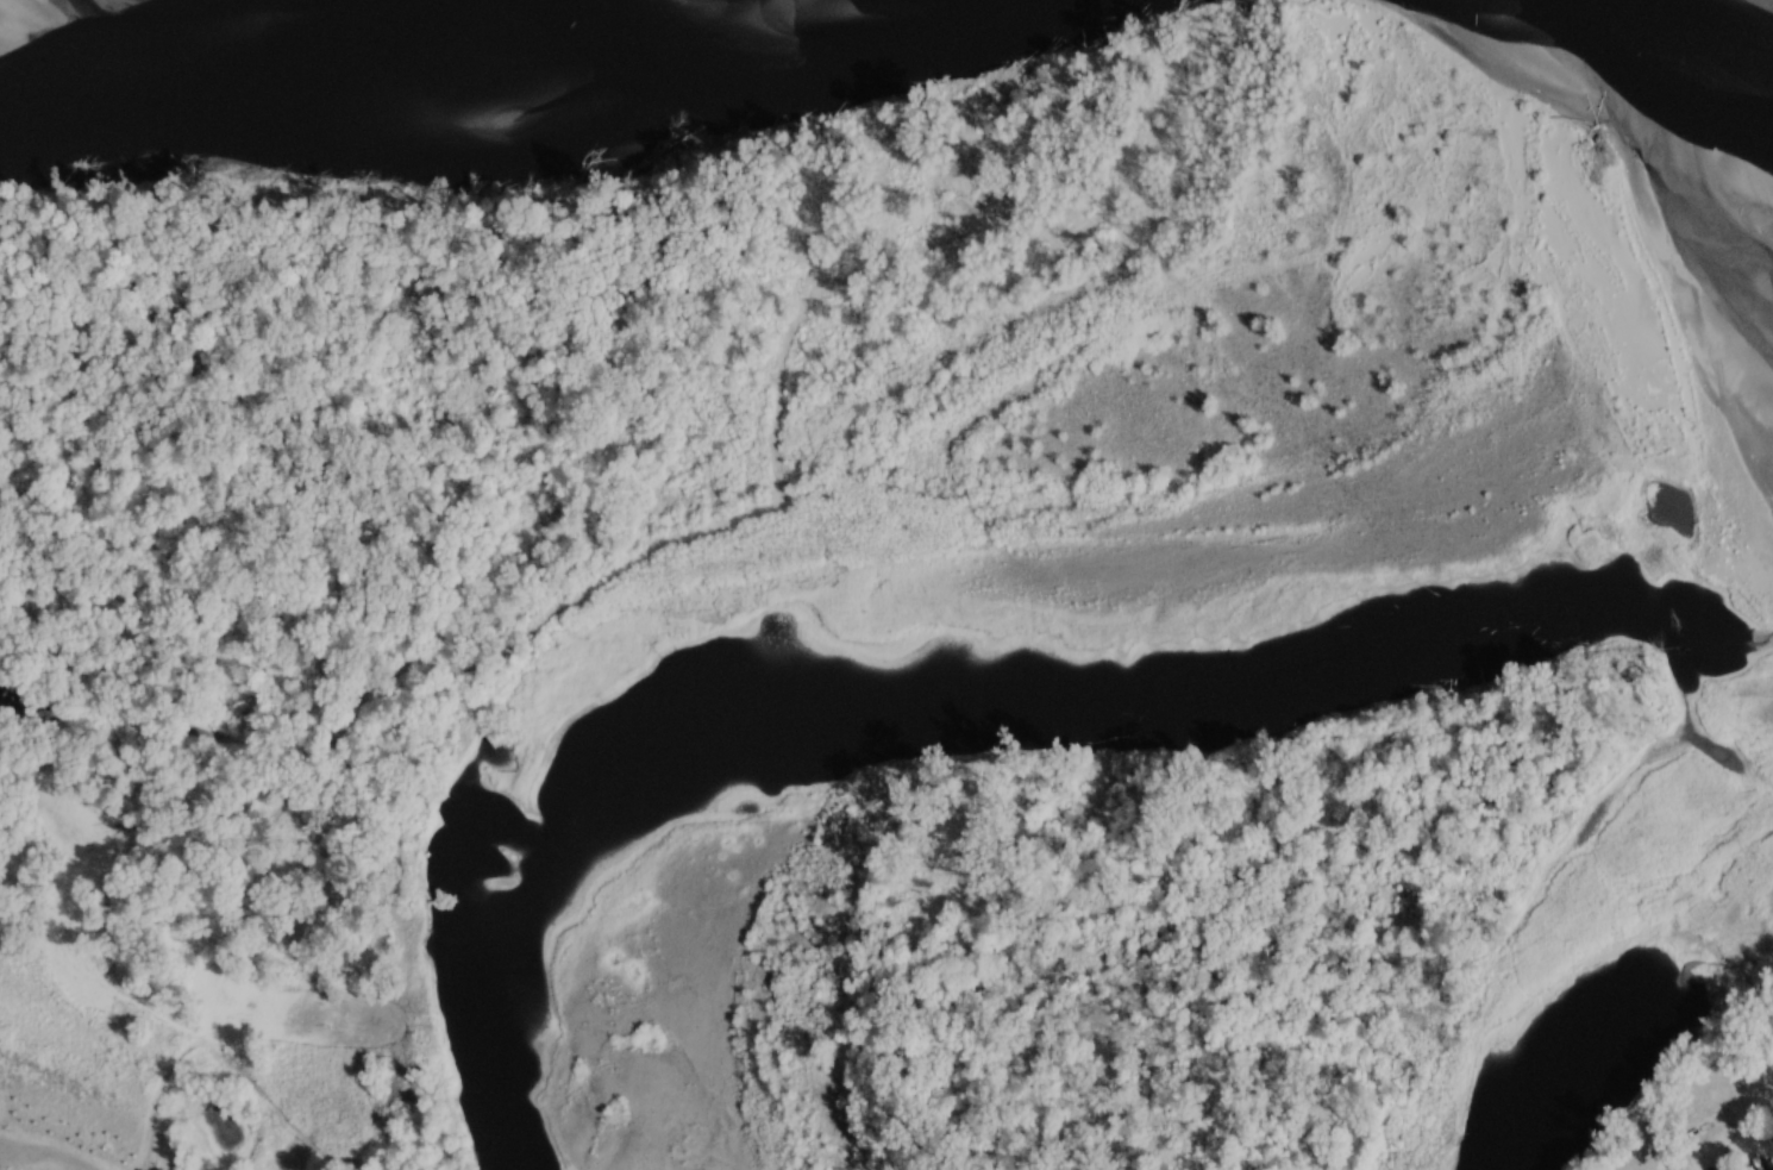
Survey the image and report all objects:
river: (903, 530)
river: (1614, 993)
road: (138, 1138)
road: (1630, 1162)
building: (1761, 1164)

